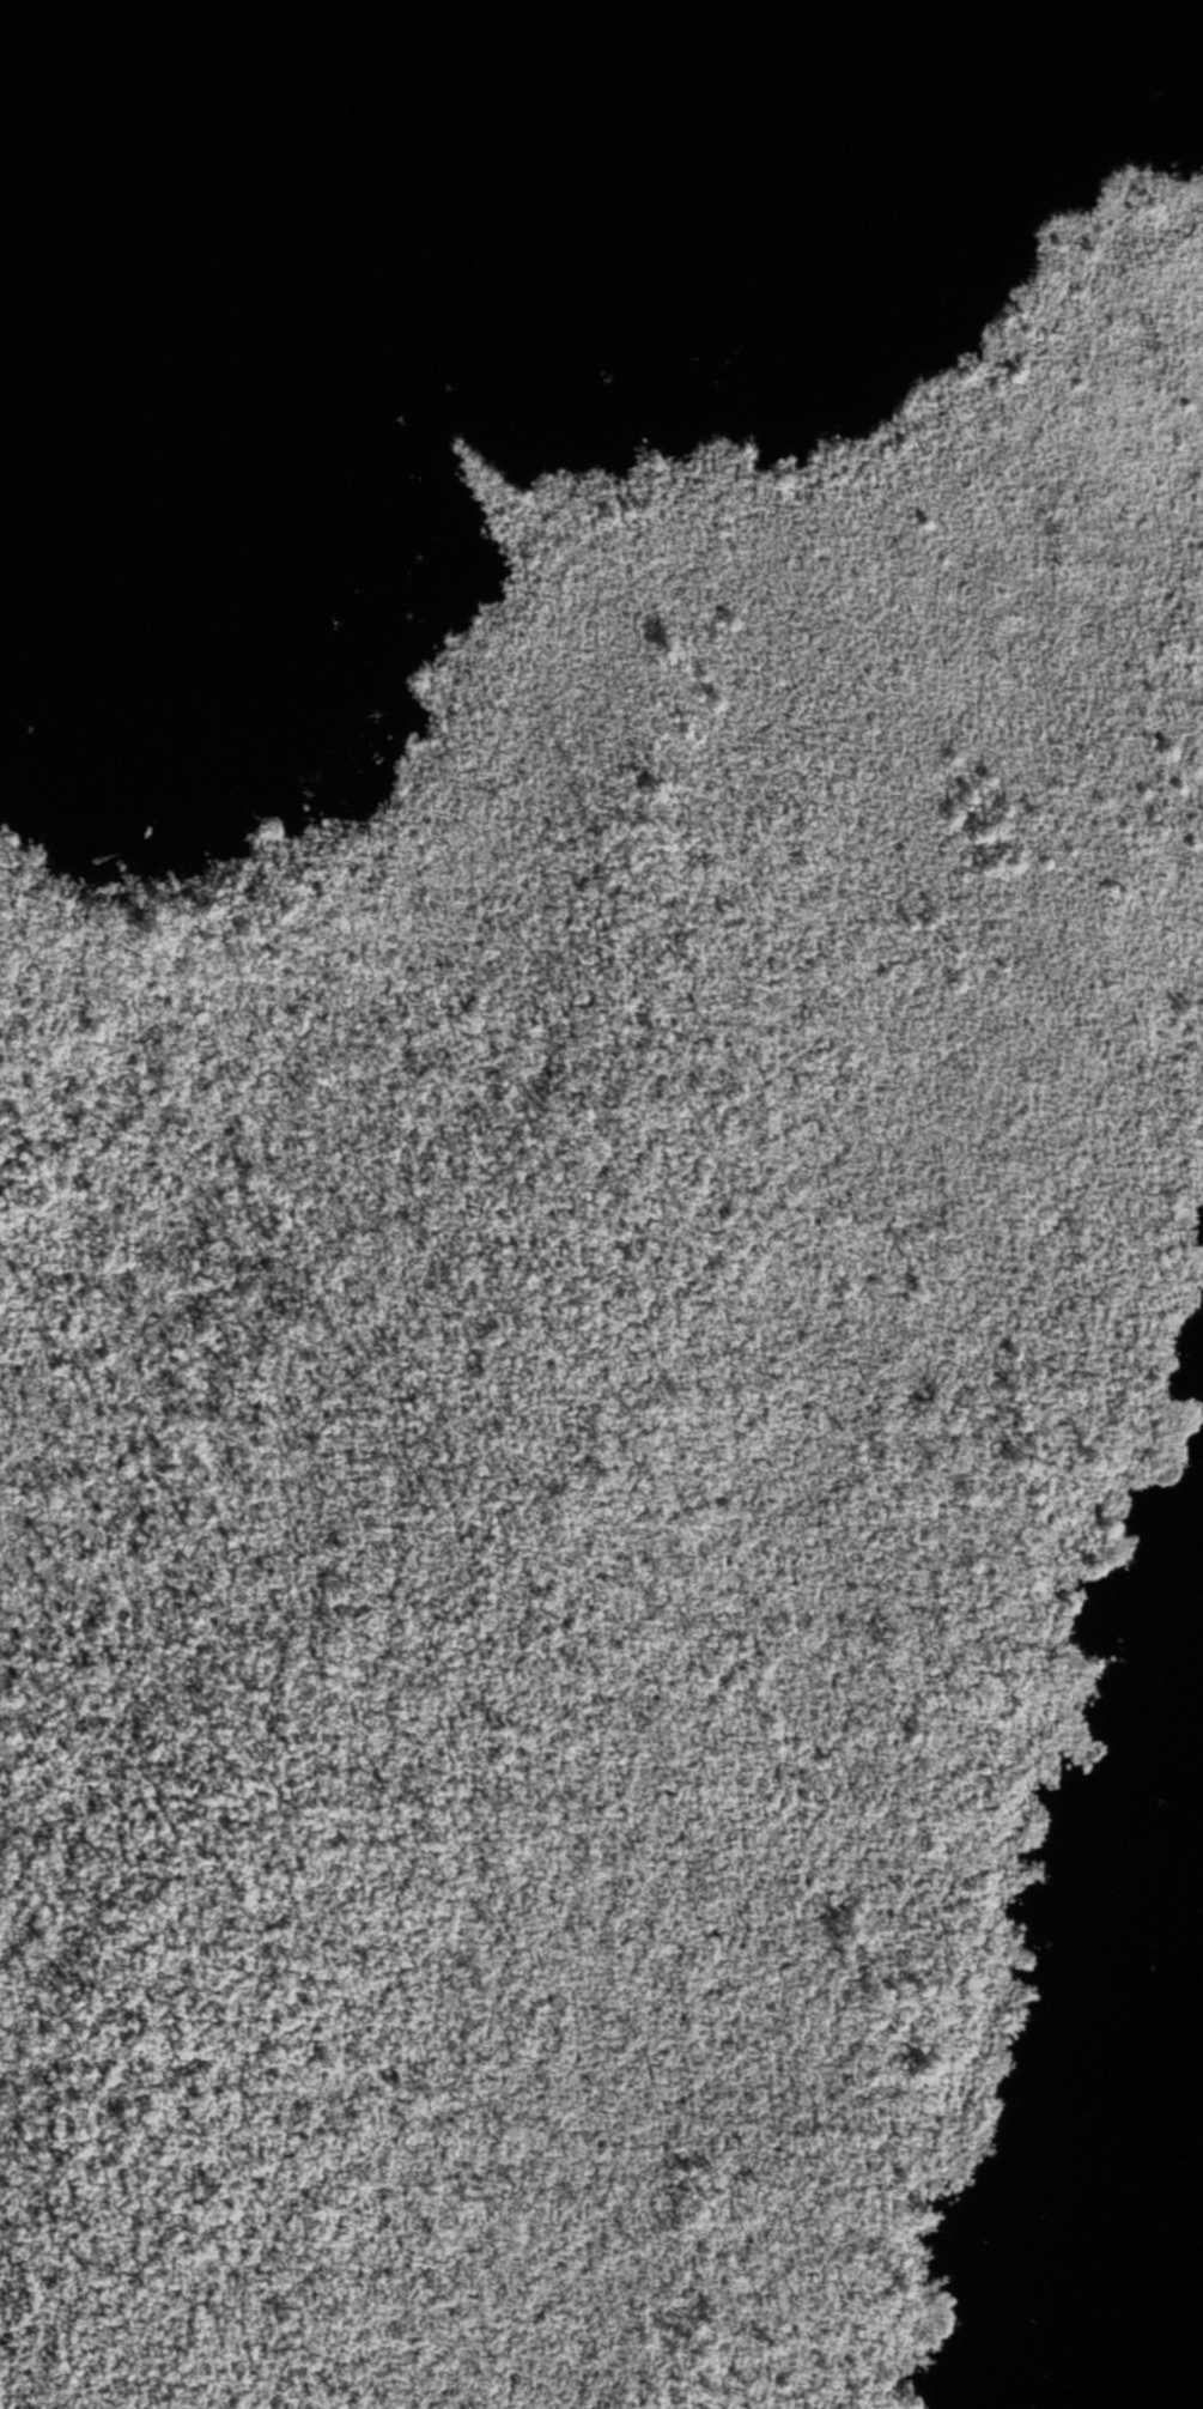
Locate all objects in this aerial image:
river: (142, 24)

